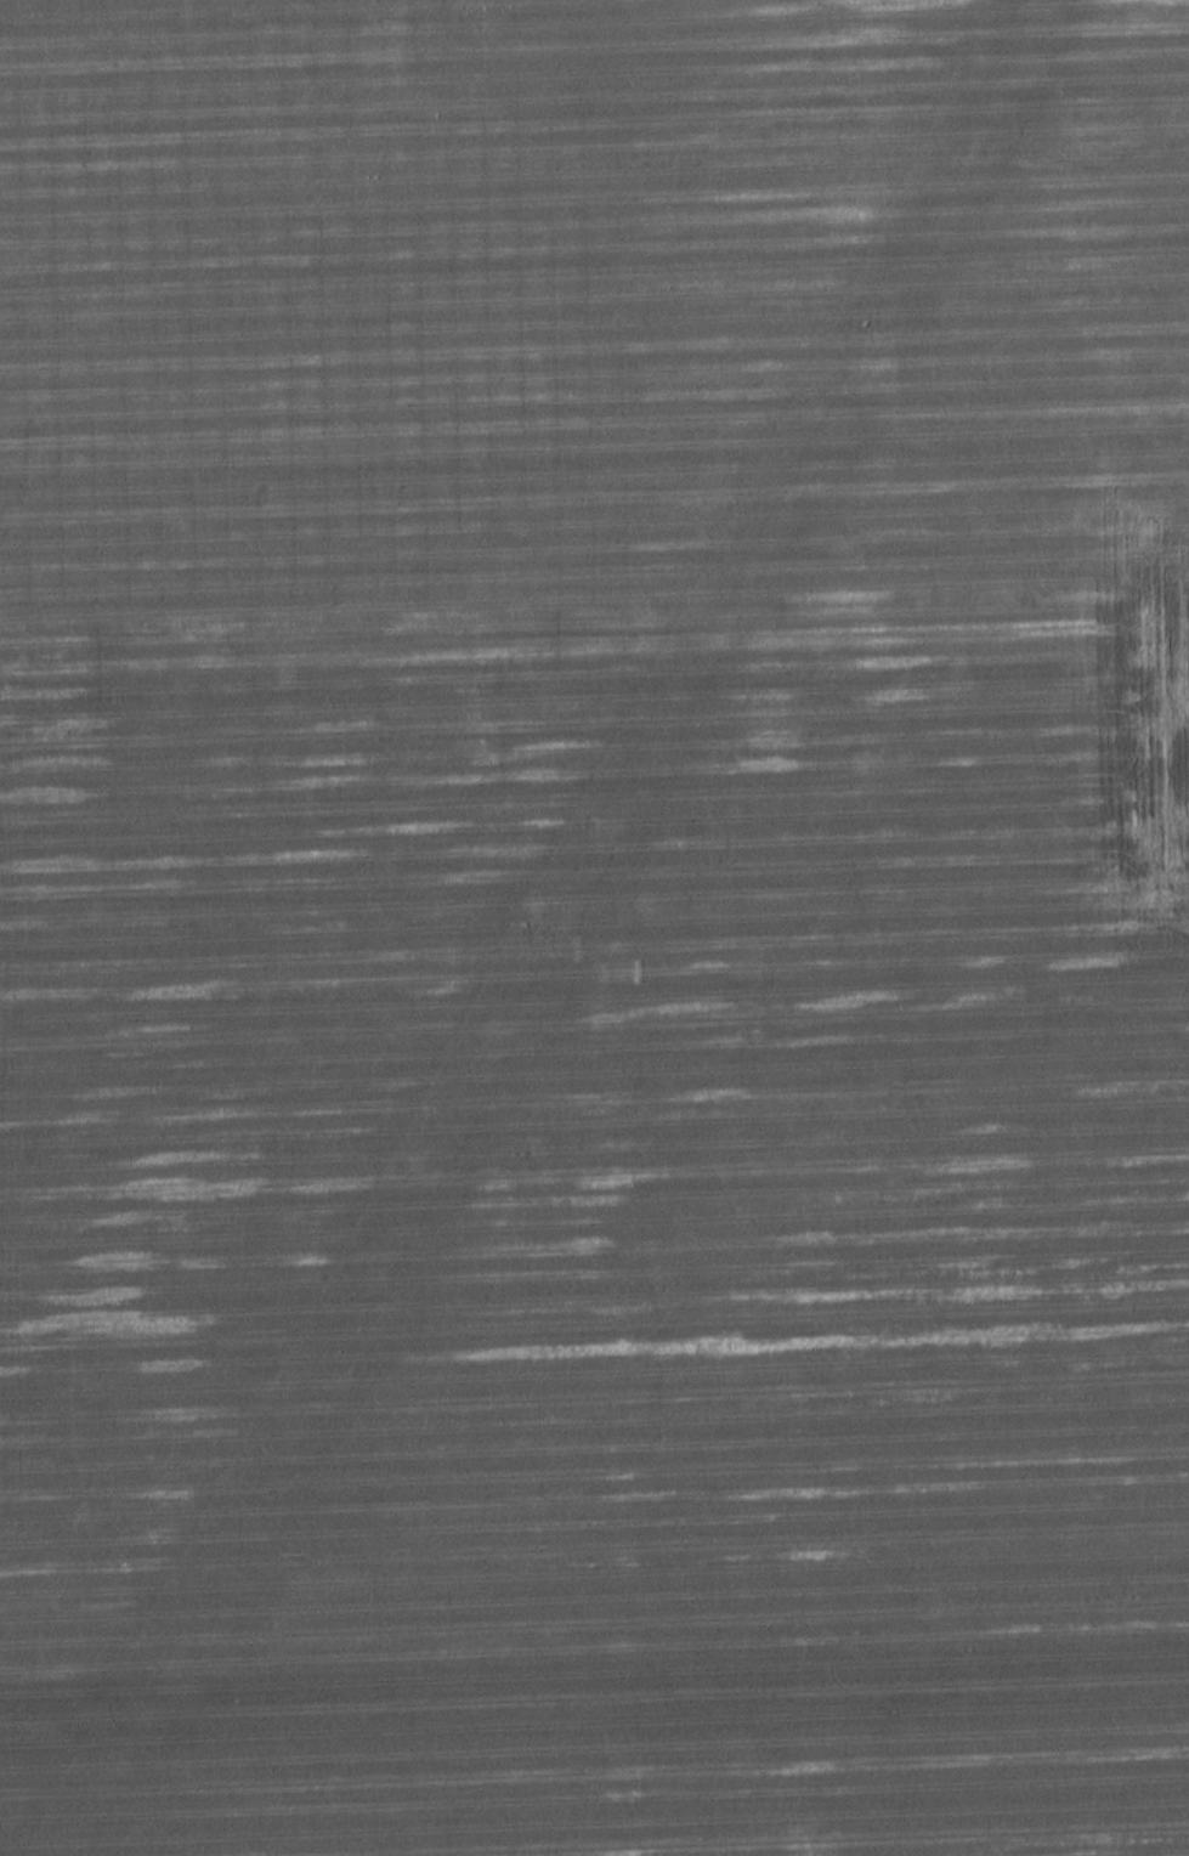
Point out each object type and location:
crop: (594, 928)

